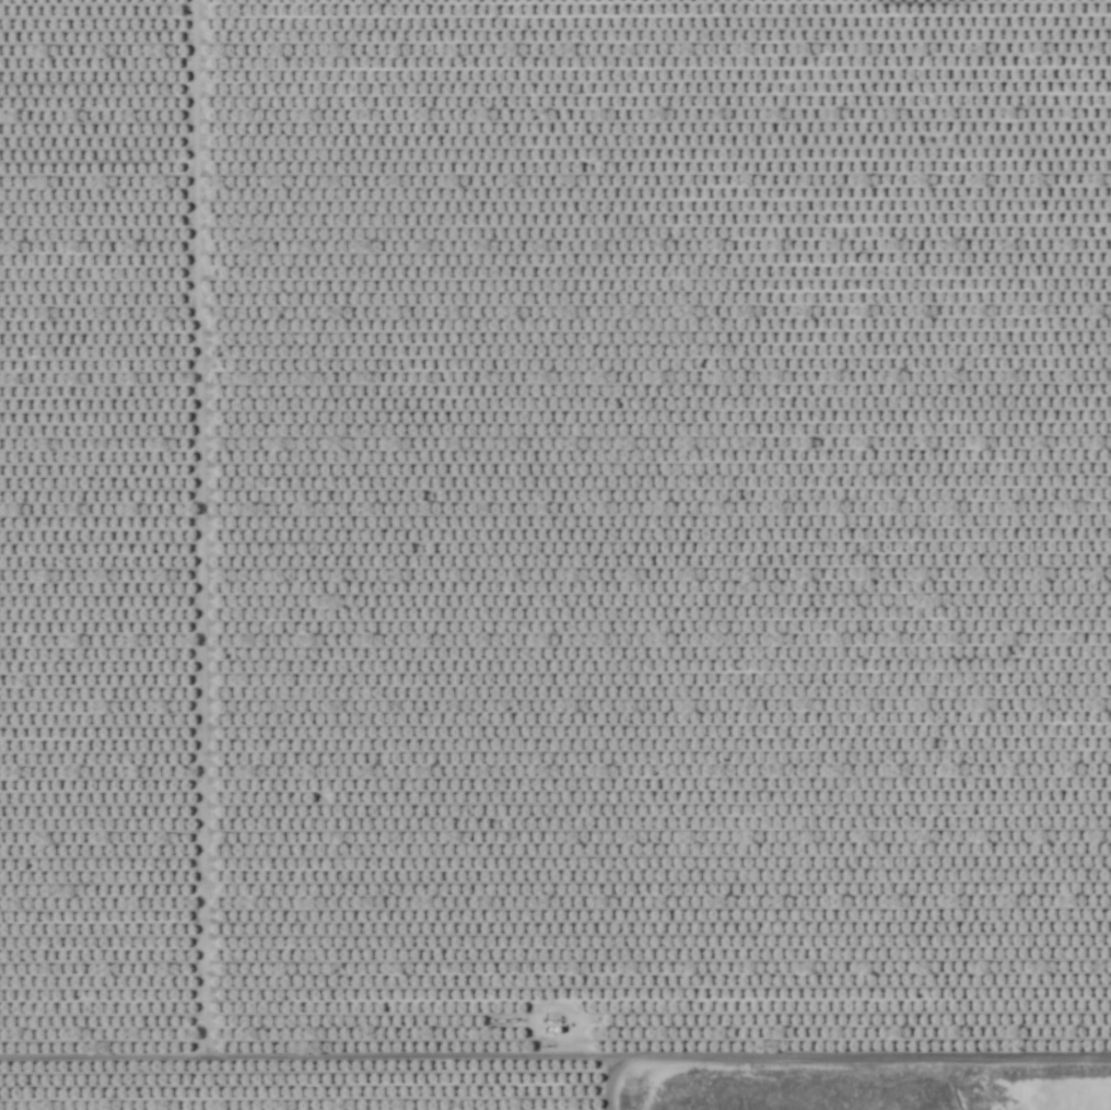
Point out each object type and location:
road: (194, 531)
crop: (550, 547)
road: (555, 1063)

